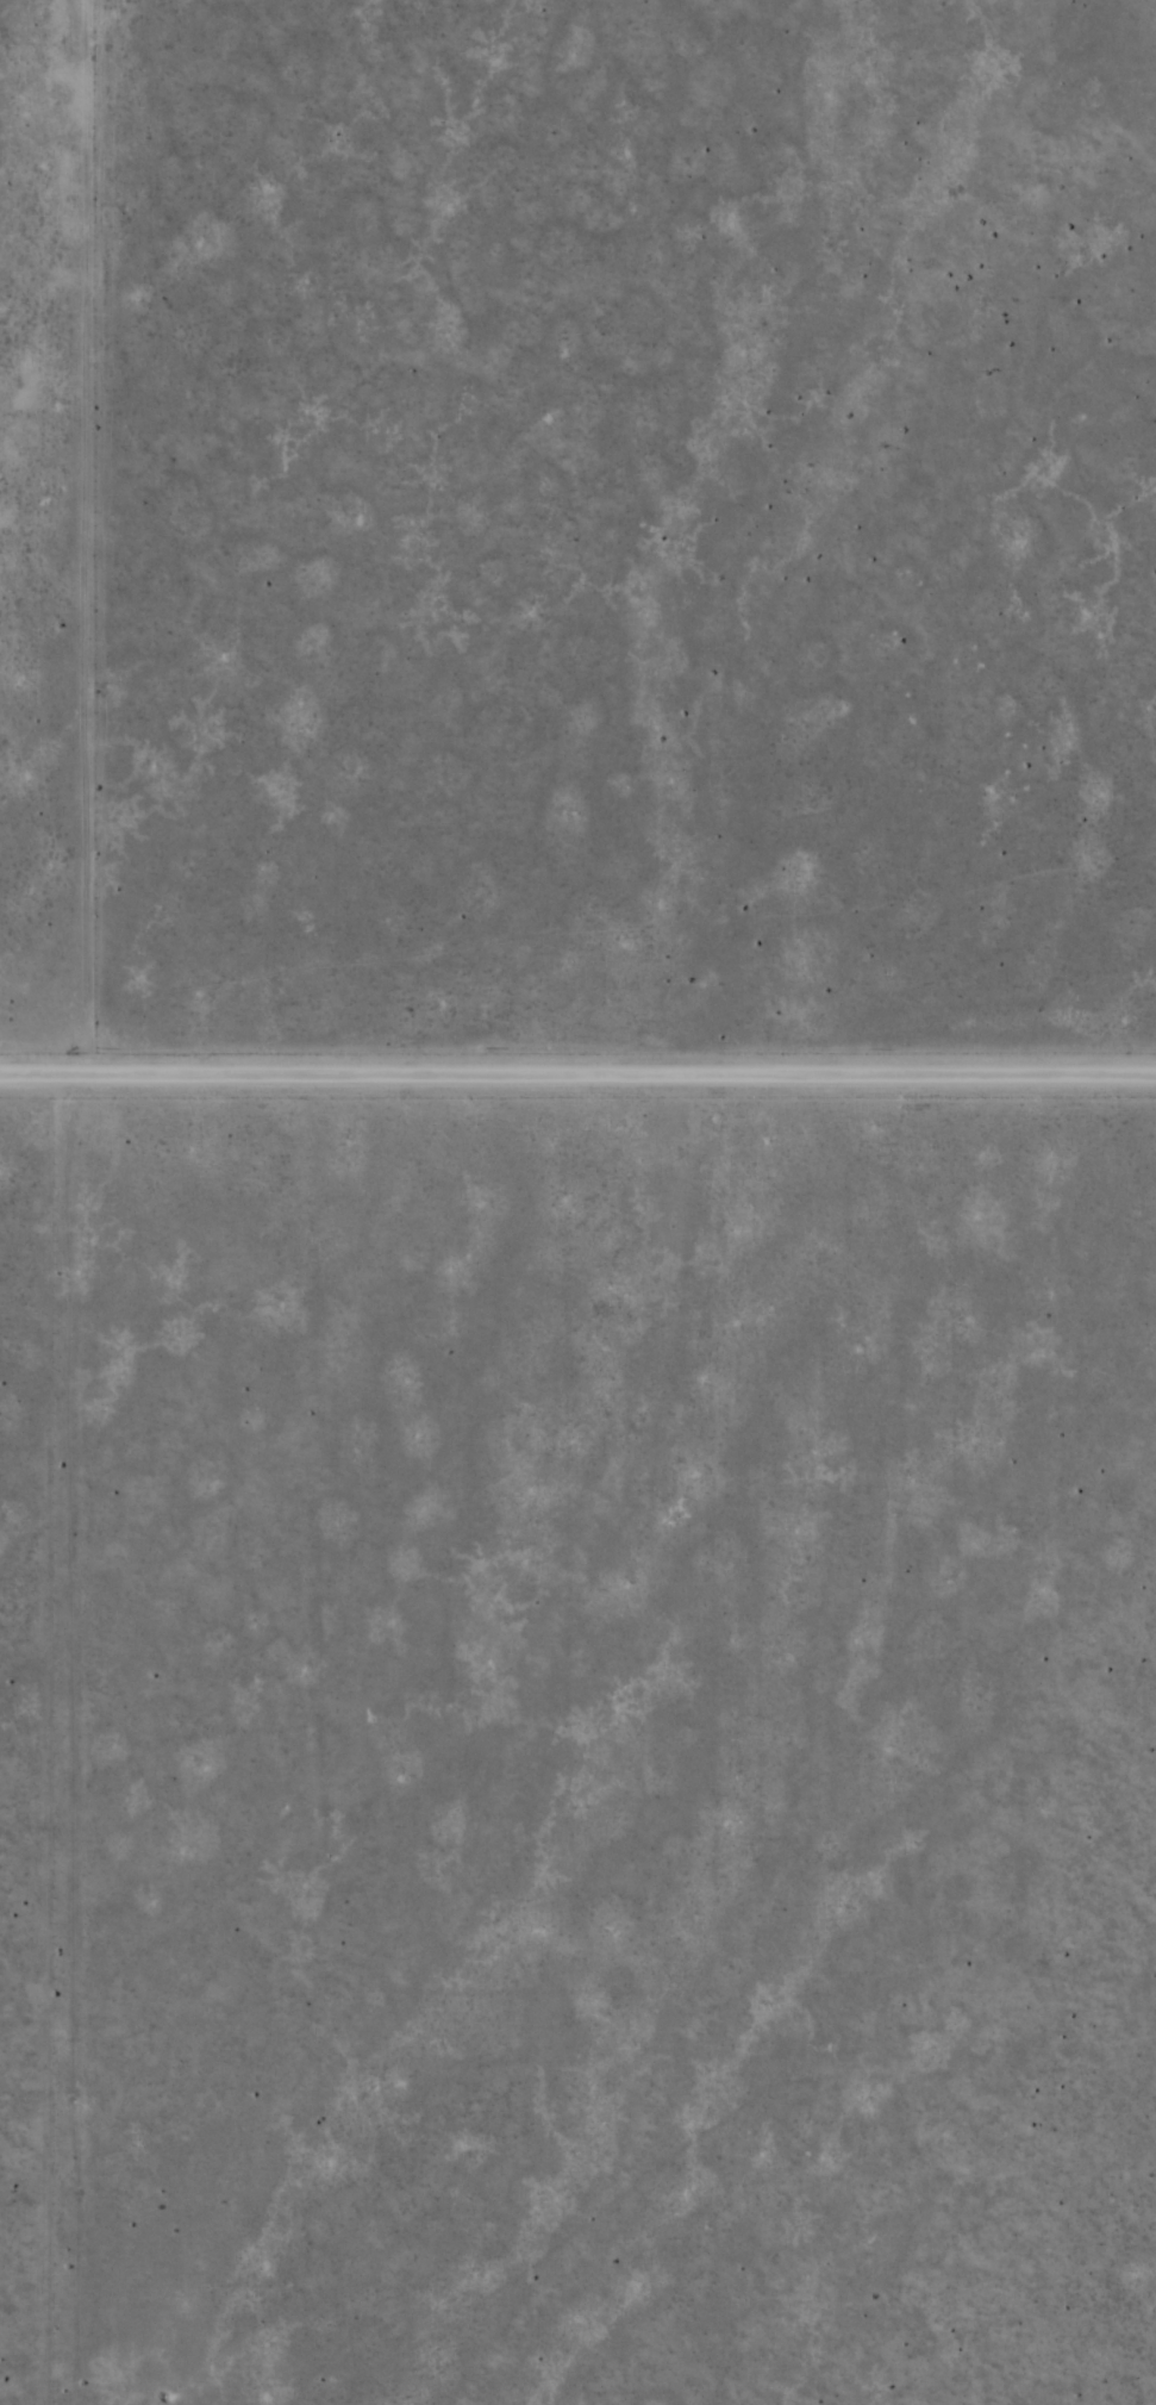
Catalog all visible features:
road: (577, 1060)

